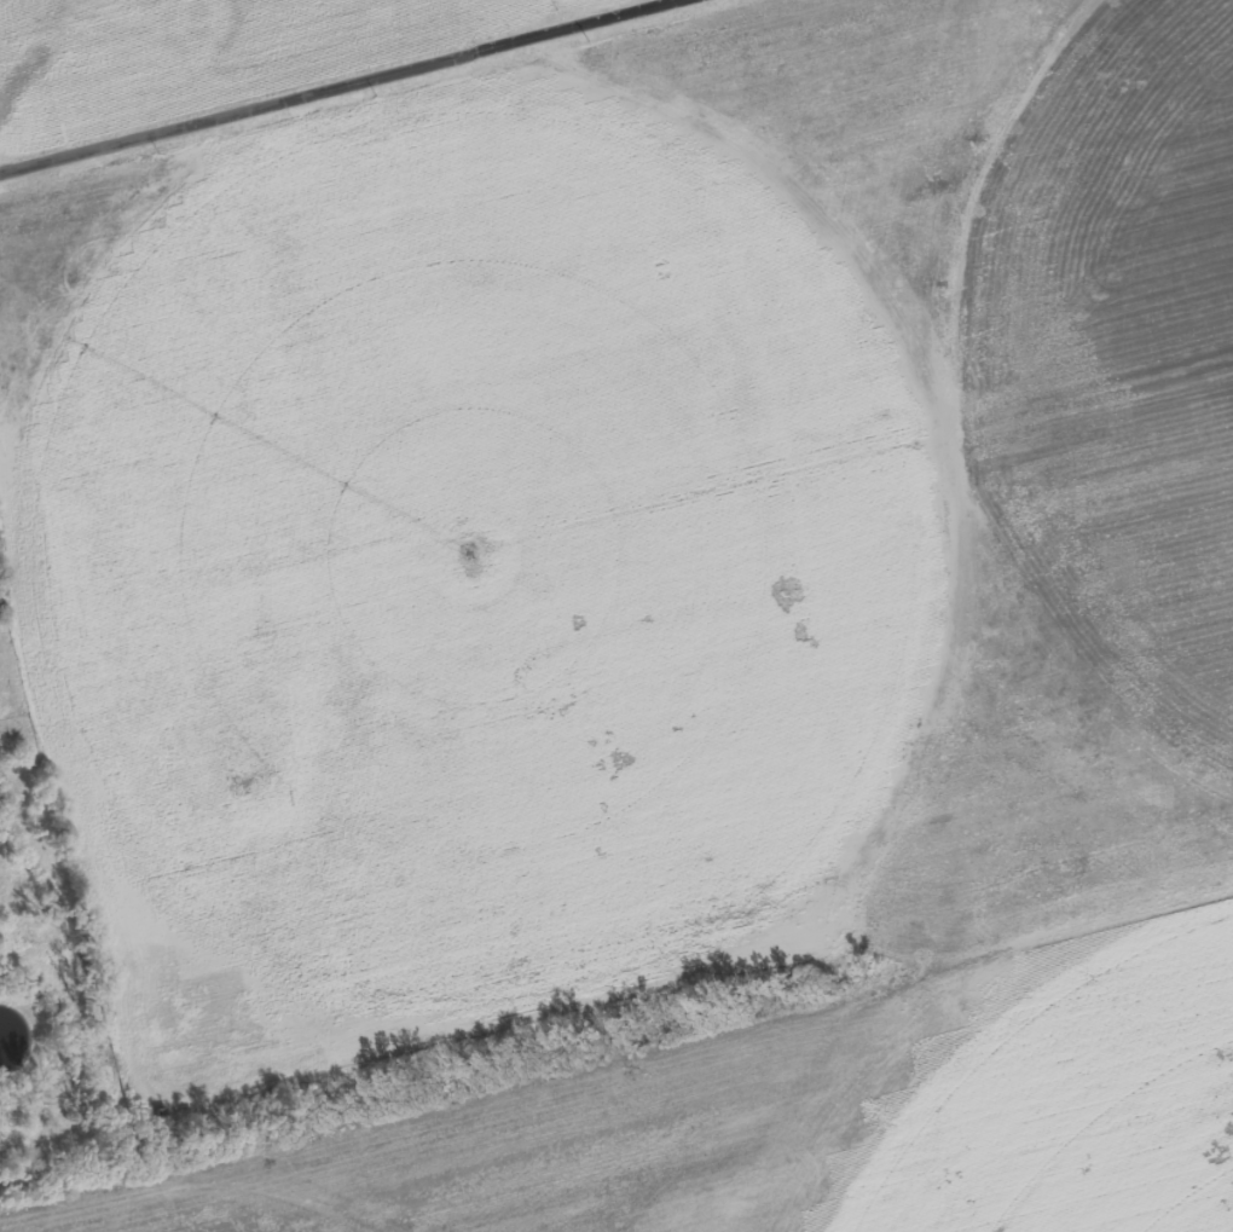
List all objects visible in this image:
road: (337, 85)

